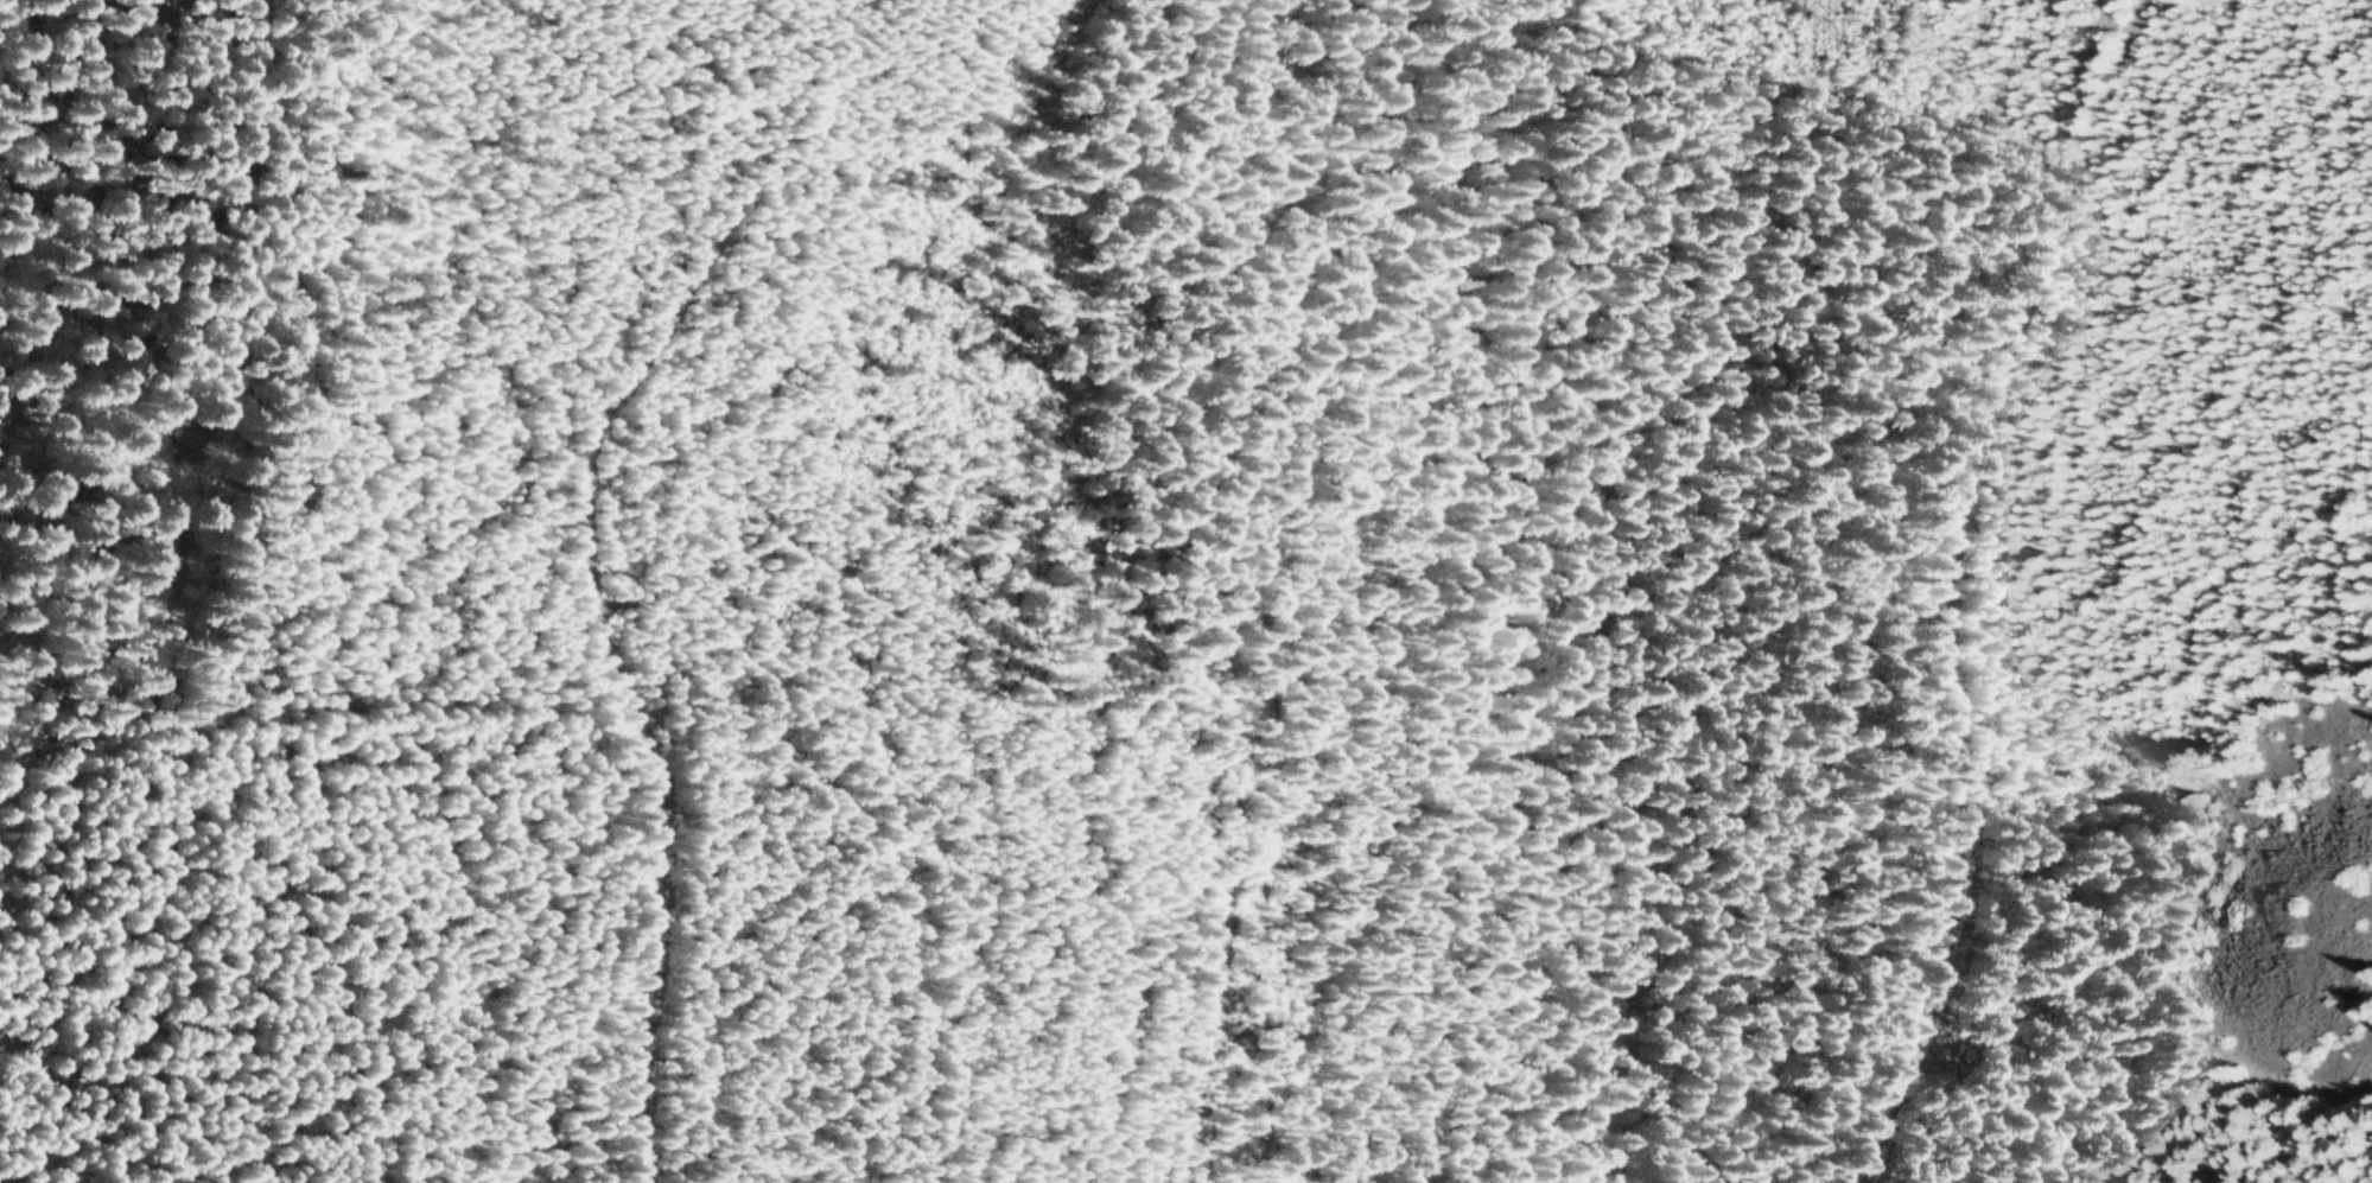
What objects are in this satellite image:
road: (1947, 583)
road: (649, 851)

